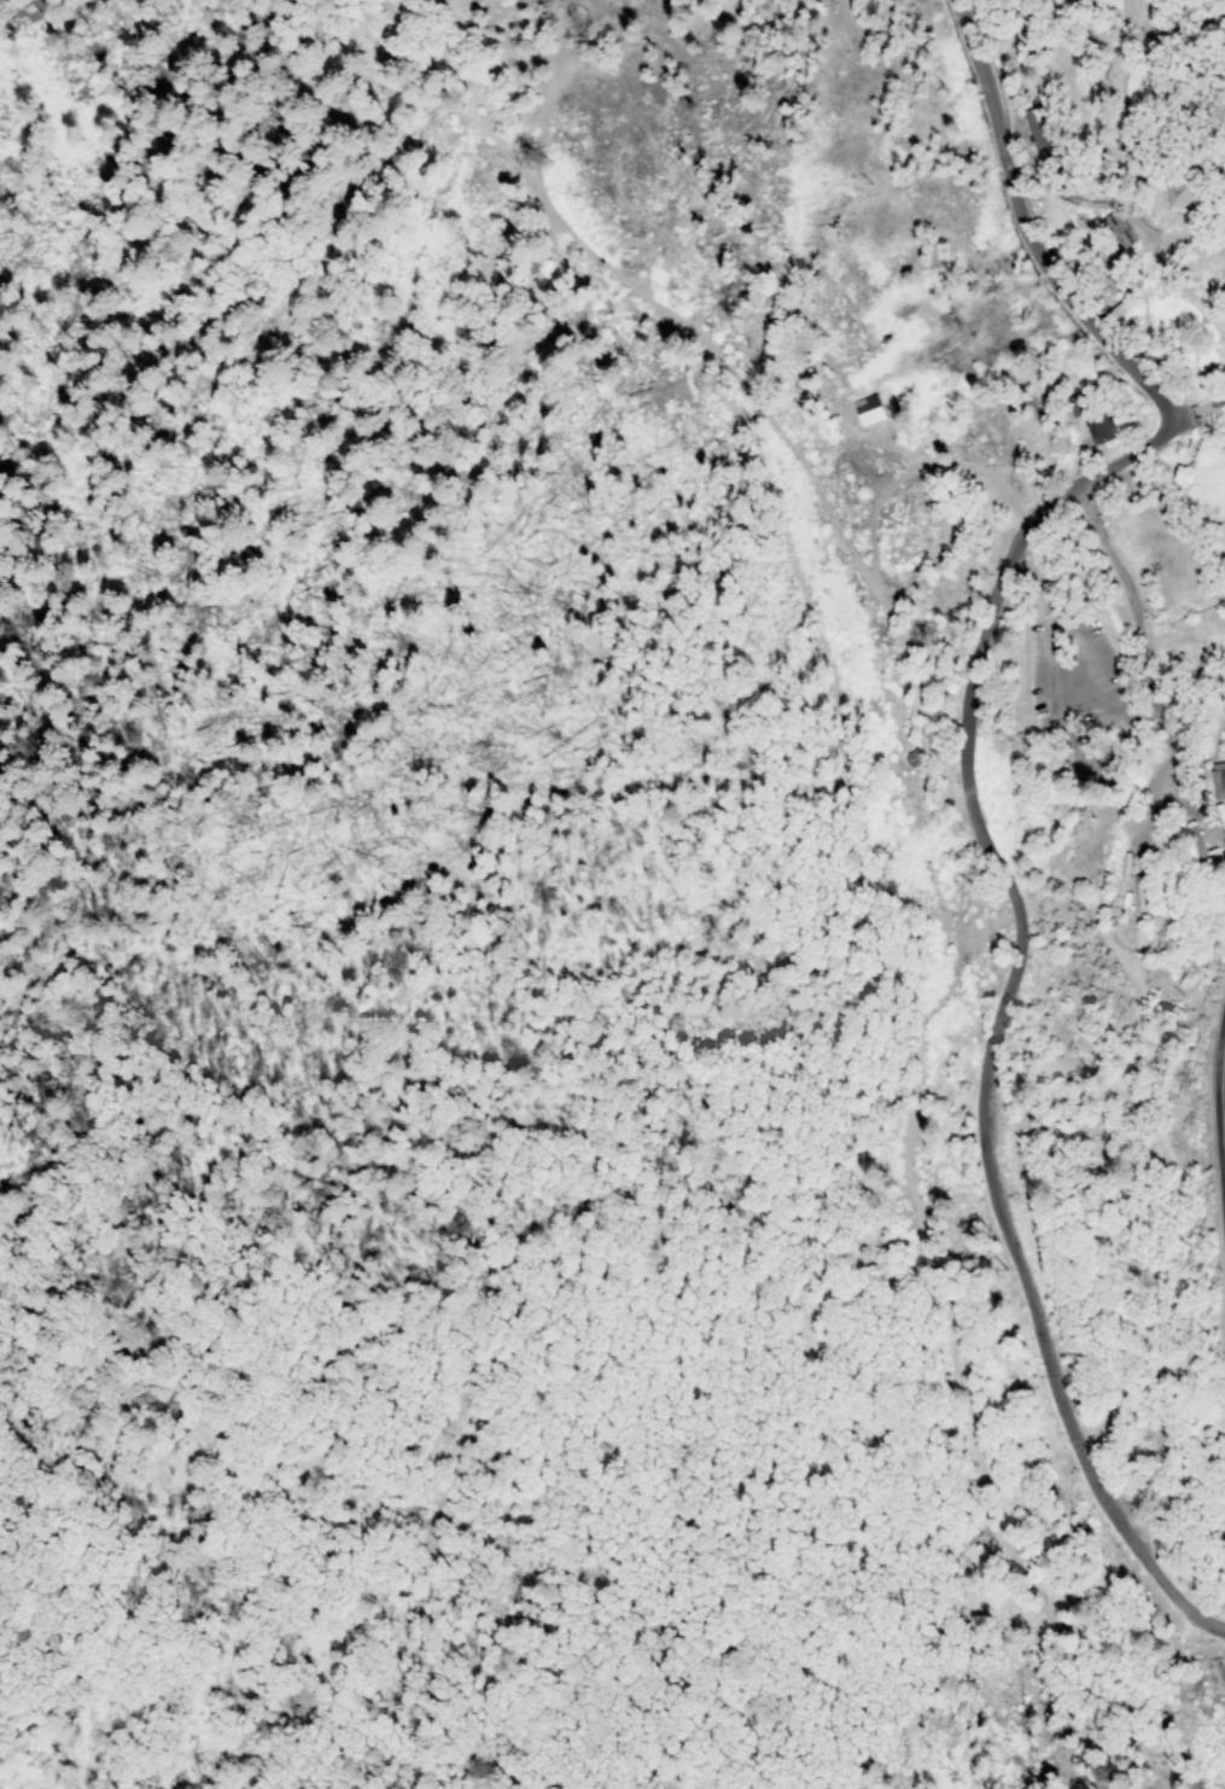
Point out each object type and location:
building: (1116, 229)
building: (868, 409)
building: (1098, 427)
building: (1218, 780)
road: (968, 785)
building: (1203, 844)
building: (1173, 850)
road: (1221, 1097)

